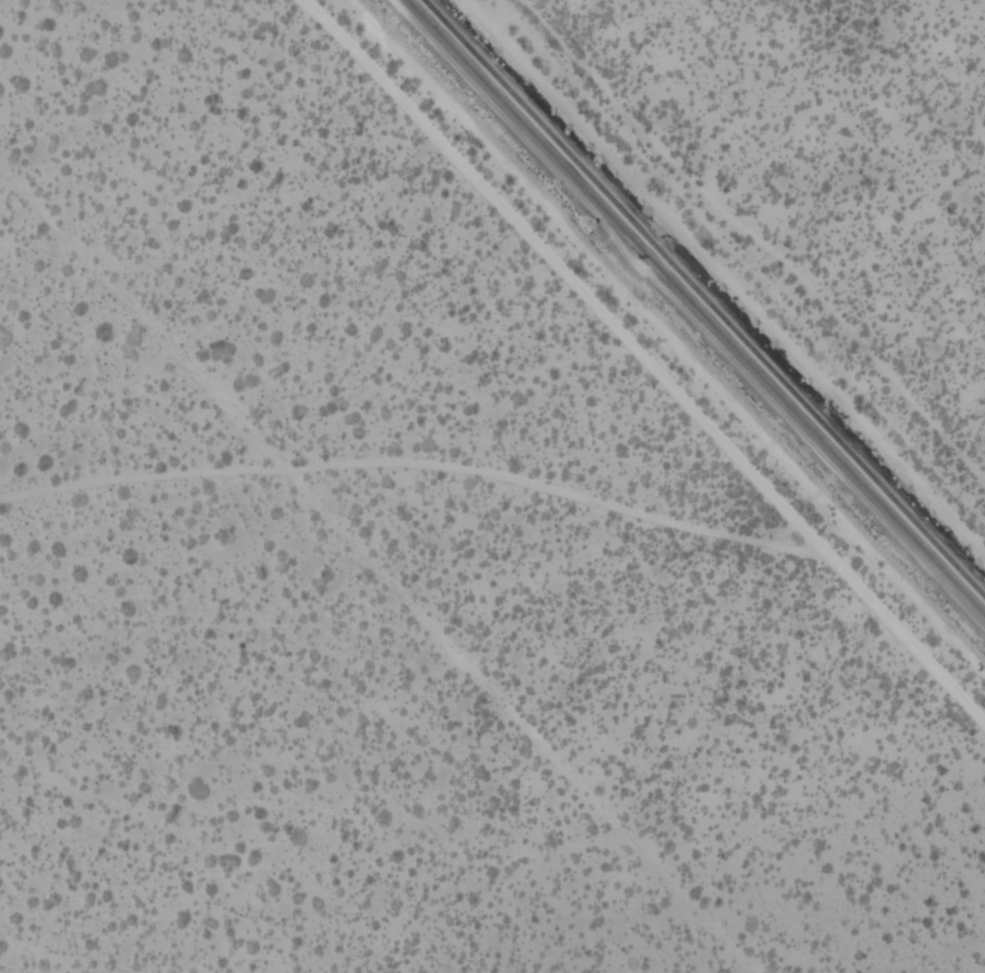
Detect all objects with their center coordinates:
road: (763, 232)
road: (561, 273)
road: (721, 283)
railway: (703, 299)
railway: (695, 307)
road: (412, 482)
road: (902, 635)
road: (518, 724)

